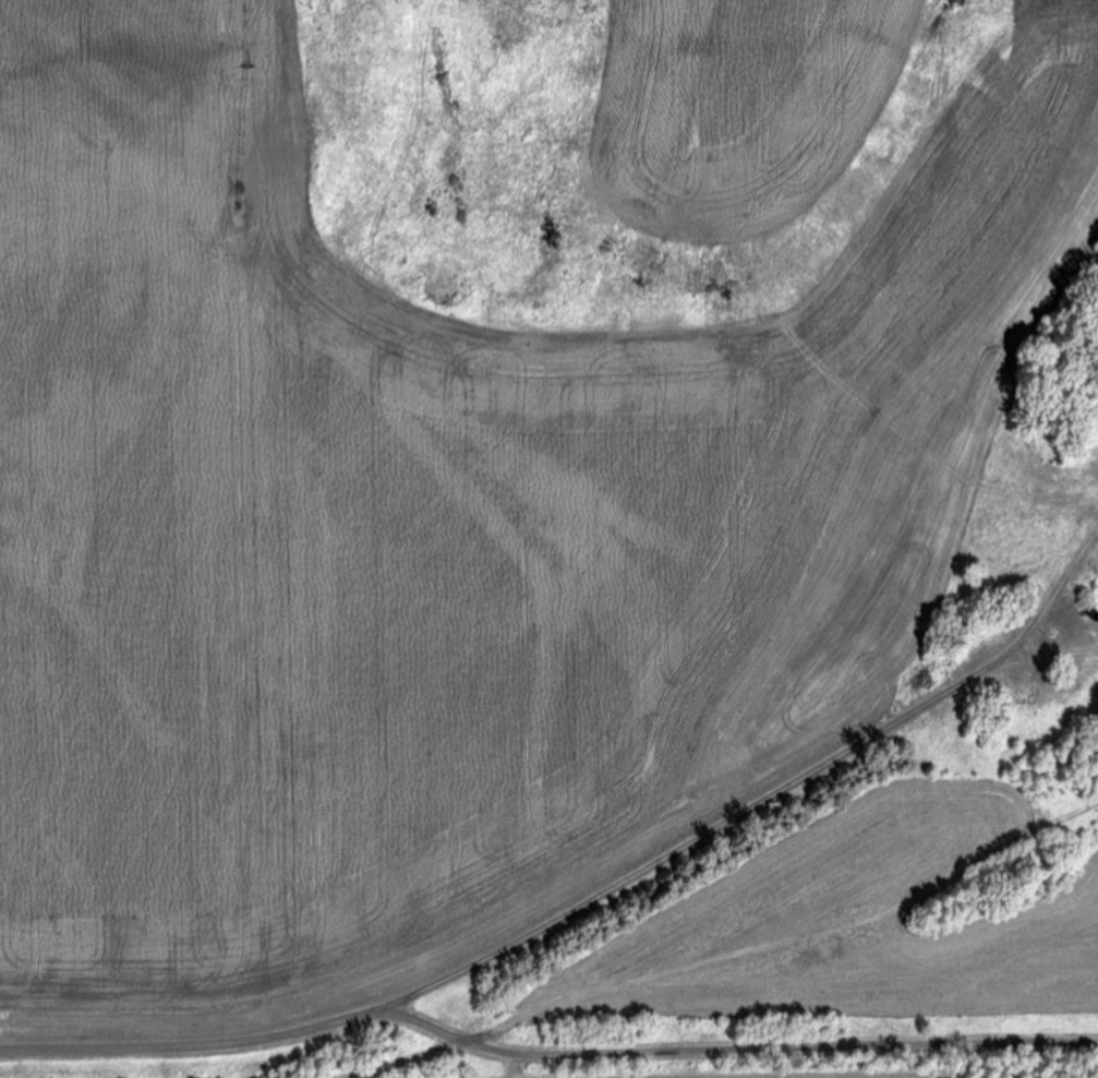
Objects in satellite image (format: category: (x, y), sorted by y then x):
road: (692, 829)
road: (184, 1045)
road: (727, 1053)

